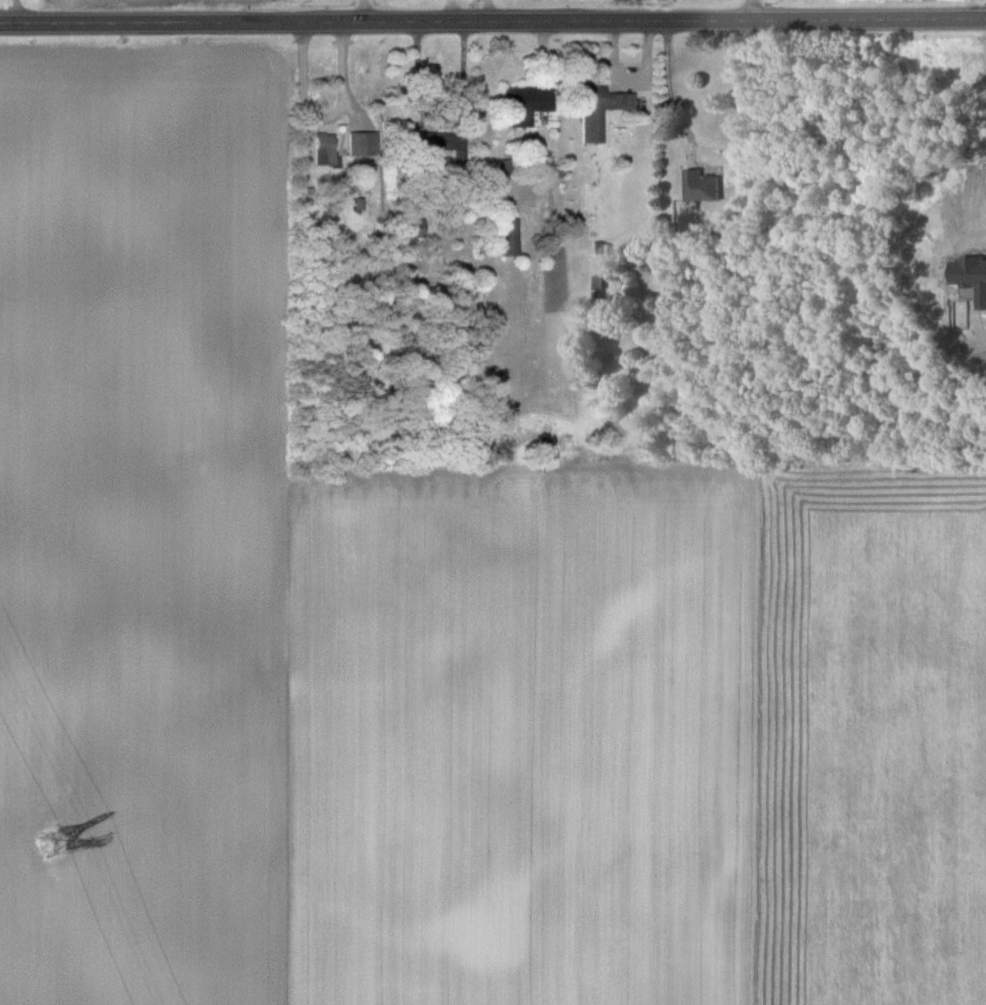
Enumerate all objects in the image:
road: (754, 9)
road: (18, 11)
road: (493, 19)
road: (668, 83)
building: (524, 103)
building: (599, 109)
road: (326, 116)
building: (362, 142)
building: (441, 142)
building: (323, 148)
building: (699, 185)
building: (411, 227)
building: (507, 236)
power tower: (54, 834)

